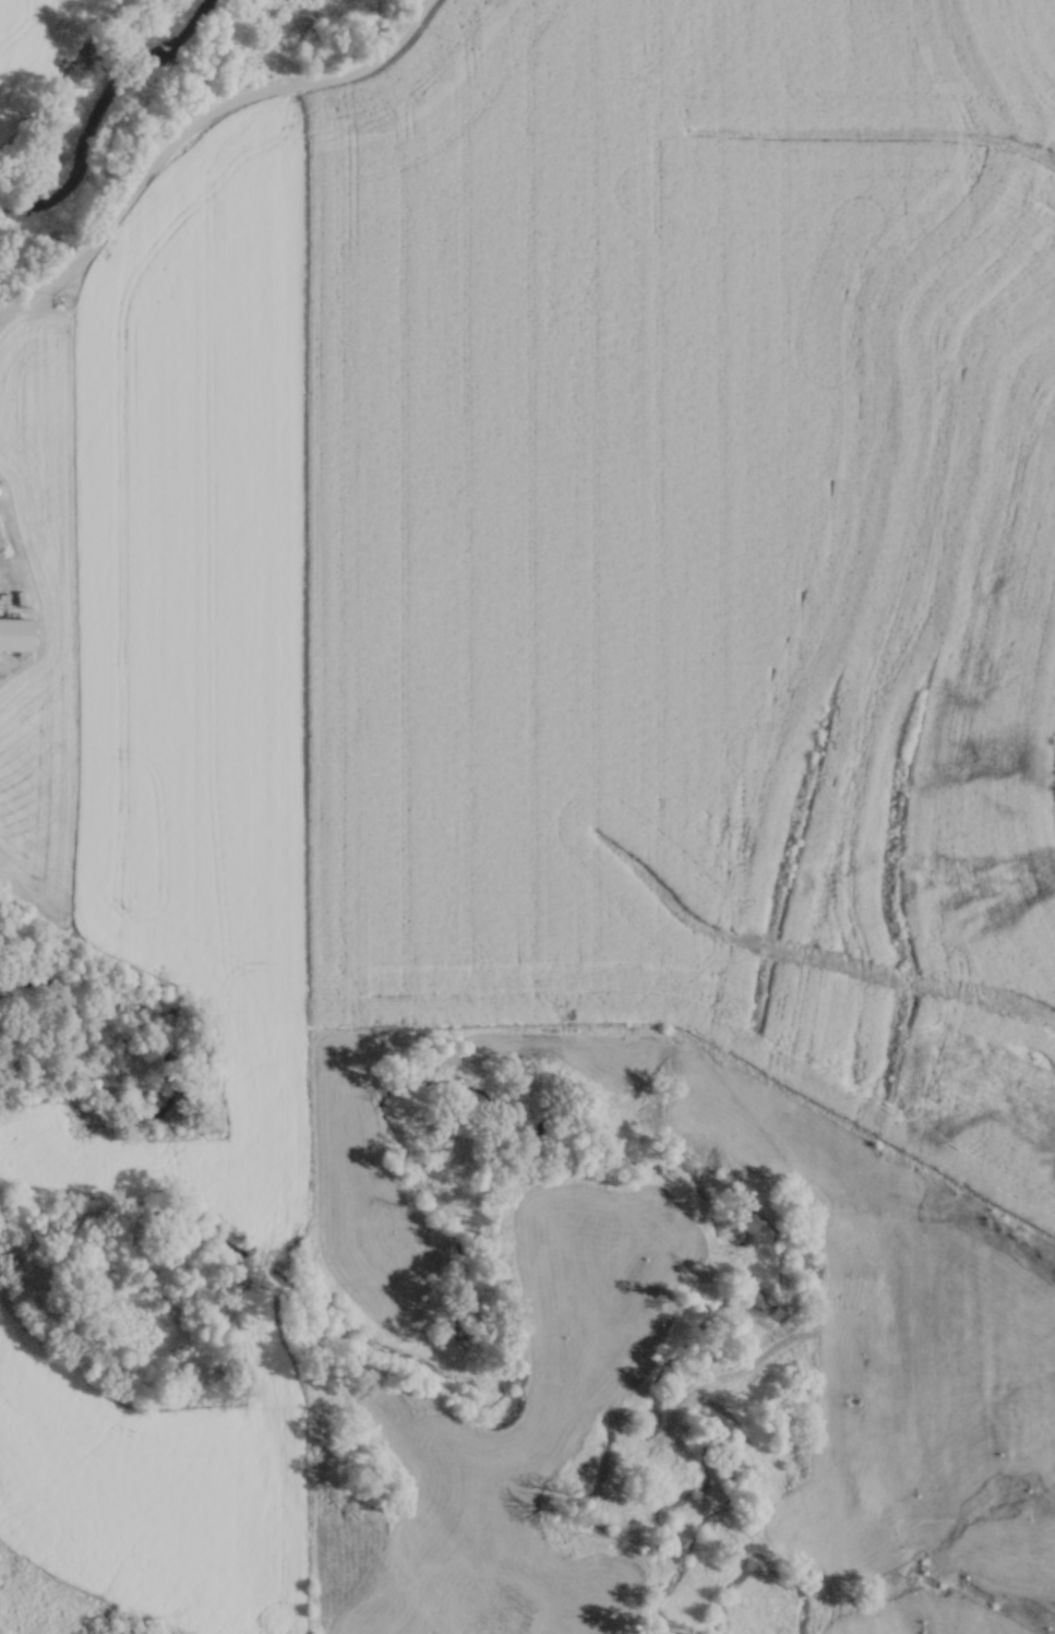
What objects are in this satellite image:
road: (199, 124)
building: (0, 603)

